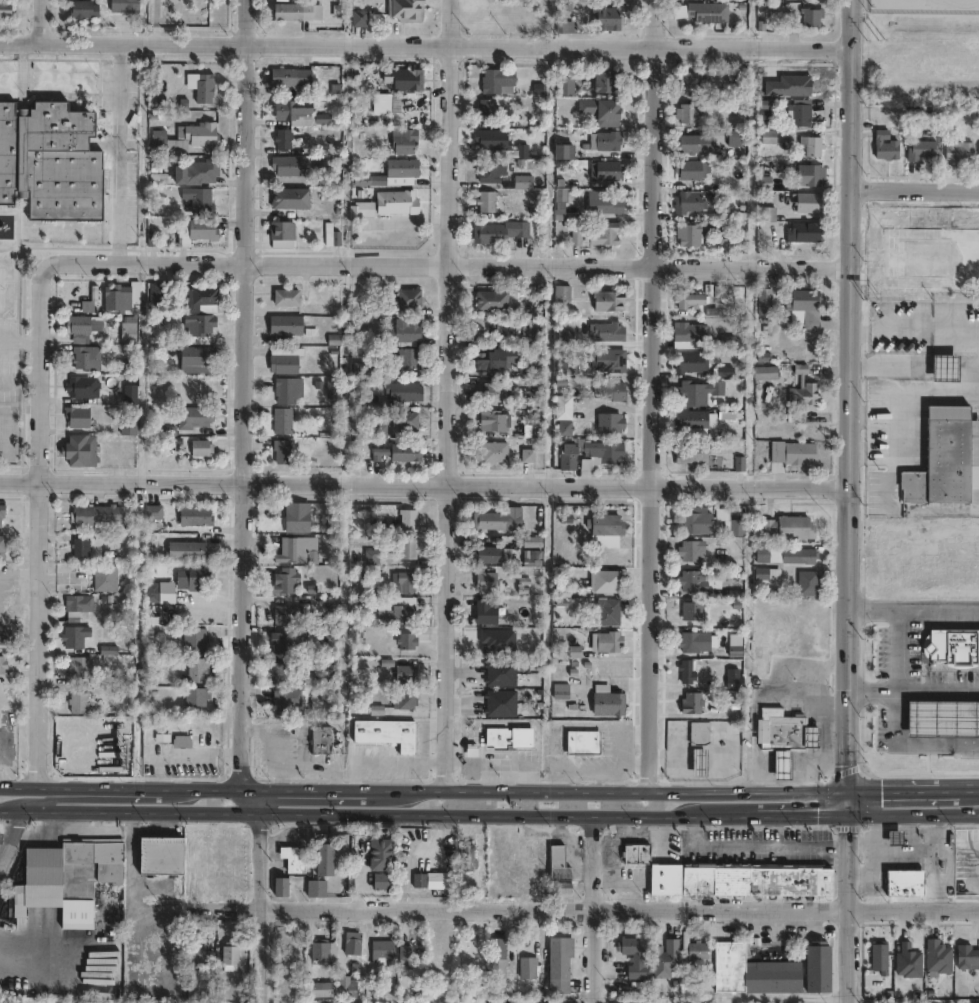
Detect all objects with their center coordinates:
building: (124, 5)
power substation: (925, 6)
building: (4, 10)
building: (82, 10)
building: (405, 10)
building: (287, 11)
building: (709, 12)
building: (604, 17)
building: (812, 17)
building: (359, 18)
road: (40, 22)
building: (565, 27)
road: (425, 45)
building: (290, 77)
building: (734, 78)
building: (403, 79)
building: (498, 81)
building: (605, 81)
building: (693, 81)
building: (566, 86)
building: (203, 88)
building: (155, 103)
building: (382, 103)
building: (740, 107)
building: (487, 108)
building: (608, 111)
building: (298, 113)
building: (688, 113)
building: (799, 113)
building: (199, 134)
building: (768, 137)
building: (282, 139)
building: (491, 139)
building: (403, 141)
building: (605, 141)
building: (157, 144)
building: (694, 145)
building: (812, 146)
building: (885, 146)
building: (564, 150)
building: (922, 150)
building: (959, 151)
building: (514, 153)
road: (126, 154)
building: (50, 159)
building: (285, 166)
building: (690, 169)
building: (489, 170)
building: (200, 171)
building: (607, 171)
building: (389, 172)
building: (810, 175)
building: (522, 182)
building: (764, 183)
road: (915, 188)
building: (290, 199)
building: (198, 200)
building: (397, 202)
building: (485, 202)
building: (604, 202)
building: (688, 203)
building: (809, 203)
building: (360, 211)
building: (767, 214)
building: (928, 218)
building: (202, 230)
building: (280, 231)
building: (499, 232)
building: (805, 232)
building: (693, 234)
building: (332, 235)
building: (602, 235)
building: (727, 245)
building: (932, 259)
road: (447, 266)
building: (93, 293)
building: (156, 294)
building: (134, 297)
building: (286, 298)
building: (116, 299)
building: (408, 299)
building: (687, 300)
building: (201, 301)
building: (491, 301)
building: (607, 301)
building: (764, 301)
building: (804, 306)
building: (285, 326)
building: (81, 327)
building: (197, 328)
road: (915, 329)
building: (127, 331)
building: (407, 332)
building: (608, 332)
building: (688, 332)
road: (19, 339)
building: (85, 358)
building: (402, 359)
building: (195, 360)
building: (284, 360)
building: (487, 360)
building: (607, 360)
building: (691, 363)
road: (242, 365)
road: (916, 366)
road: (945, 366)
road: (968, 366)
building: (362, 369)
building: (944, 369)
building: (534, 370)
building: (765, 373)
road: (19, 383)
building: (82, 387)
building: (287, 390)
building: (609, 390)
building: (803, 390)
building: (403, 392)
building: (495, 393)
building: (699, 393)
road: (451, 394)
road: (649, 394)
road: (850, 394)
building: (129, 395)
building: (563, 408)
road: (900, 408)
building: (76, 417)
building: (193, 417)
building: (282, 421)
building: (492, 422)
building: (694, 423)
building: (403, 424)
building: (609, 424)
building: (127, 427)
building: (377, 428)
building: (565, 429)
building: (533, 431)
building: (200, 449)
building: (78, 452)
building: (281, 452)
building: (399, 452)
building: (494, 452)
building: (692, 454)
building: (799, 454)
building: (528, 455)
building: (600, 455)
building: (567, 458)
building: (946, 460)
road: (891, 480)
road: (425, 486)
building: (2, 508)
building: (153, 513)
building: (94, 515)
building: (194, 517)
building: (296, 518)
building: (495, 520)
building: (408, 521)
building: (697, 522)
building: (730, 523)
building: (605, 526)
road: (38, 528)
building: (789, 528)
building: (1, 545)
building: (80, 549)
building: (407, 550)
building: (186, 551)
building: (690, 551)
building: (293, 552)
building: (370, 553)
building: (770, 555)
building: (491, 556)
building: (802, 557)
road: (20, 572)
building: (767, 573)
road: (2, 578)
building: (105, 578)
building: (193, 578)
building: (283, 581)
building: (486, 582)
building: (605, 582)
building: (692, 582)
building: (403, 584)
building: (807, 584)
road: (2, 586)
building: (360, 586)
building: (151, 593)
building: (76, 606)
road: (914, 609)
building: (692, 612)
building: (399, 613)
building: (485, 614)
building: (607, 614)
building: (287, 615)
building: (3, 631)
building: (74, 635)
building: (194, 639)
building: (406, 641)
building: (693, 641)
building: (284, 642)
building: (608, 642)
building: (951, 646)
building: (2, 662)
building: (79, 667)
building: (196, 670)
building: (687, 671)
building: (404, 672)
building: (500, 672)
building: (288, 674)
building: (734, 680)
road: (873, 690)
road: (938, 690)
building: (561, 693)
building: (195, 696)
building: (281, 698)
building: (403, 700)
building: (607, 701)
building: (77, 702)
building: (500, 703)
building: (692, 703)
road: (754, 704)
building: (943, 716)
gas station: (943, 716)
road: (897, 717)
road: (822, 730)
building: (384, 733)
building: (700, 733)
building: (788, 733)
building: (508, 737)
building: (320, 740)
building: (181, 741)
building: (581, 743)
road: (239, 760)
road: (388, 761)
building: (698, 761)
building: (781, 764)
gas station: (781, 764)
road: (808, 769)
road: (971, 785)
road: (924, 787)
road: (119, 789)
road: (302, 789)
road: (607, 789)
traffic signals: (849, 789)
road: (867, 789)
road: (90, 799)
road: (249, 800)
road: (849, 800)
road: (108, 811)
road: (932, 811)
road: (238, 812)
road: (508, 812)
road: (802, 812)
traffic signals: (849, 812)
road: (867, 812)
road: (9, 830)
building: (894, 838)
gas station: (894, 838)
road: (753, 846)
building: (637, 853)
building: (226, 854)
building: (508, 854)
building: (381, 855)
building: (159, 856)
building: (467, 857)
building: (293, 858)
building: (324, 859)
building: (538, 860)
building: (558, 863)
building: (69, 875)
building: (430, 880)
building: (738, 880)
building: (383, 881)
building: (904, 883)
building: (279, 886)
building: (315, 888)
road: (555, 906)
road: (263, 907)
road: (596, 907)
road: (849, 907)
building: (351, 943)
building: (322, 950)
building: (698, 950)
building: (381, 951)
building: (195, 955)
building: (469, 955)
building: (230, 956)
building: (966, 956)
building: (404, 957)
building: (938, 957)
building: (498, 958)
building: (634, 958)
building: (880, 958)
building: (666, 959)
building: (908, 962)
building: (559, 964)
building: (527, 967)
building: (817, 967)
building: (752, 972)
building: (346, 987)
building: (319, 989)

